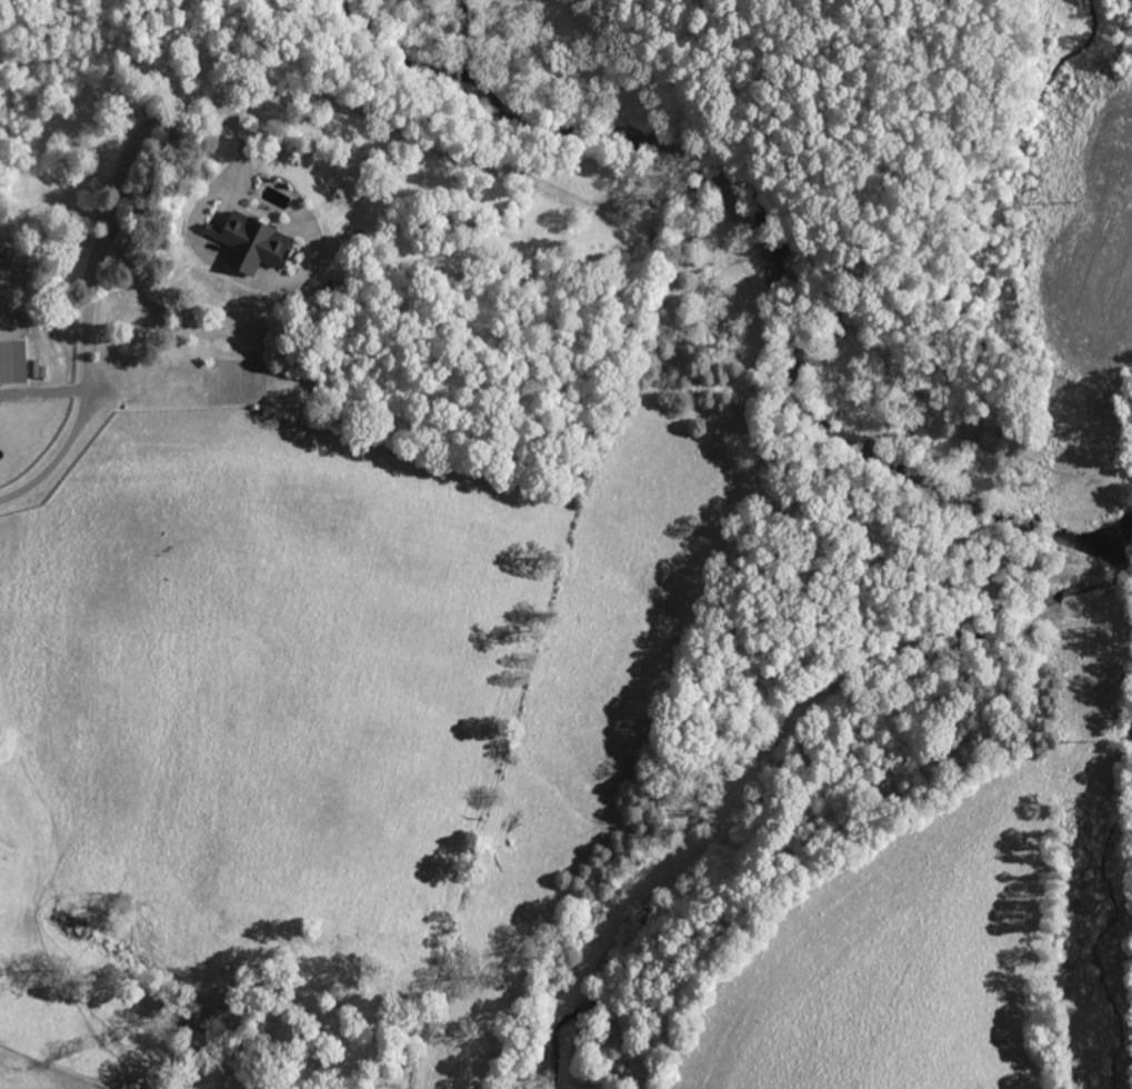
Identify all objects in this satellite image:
building: (253, 244)
building: (13, 362)

